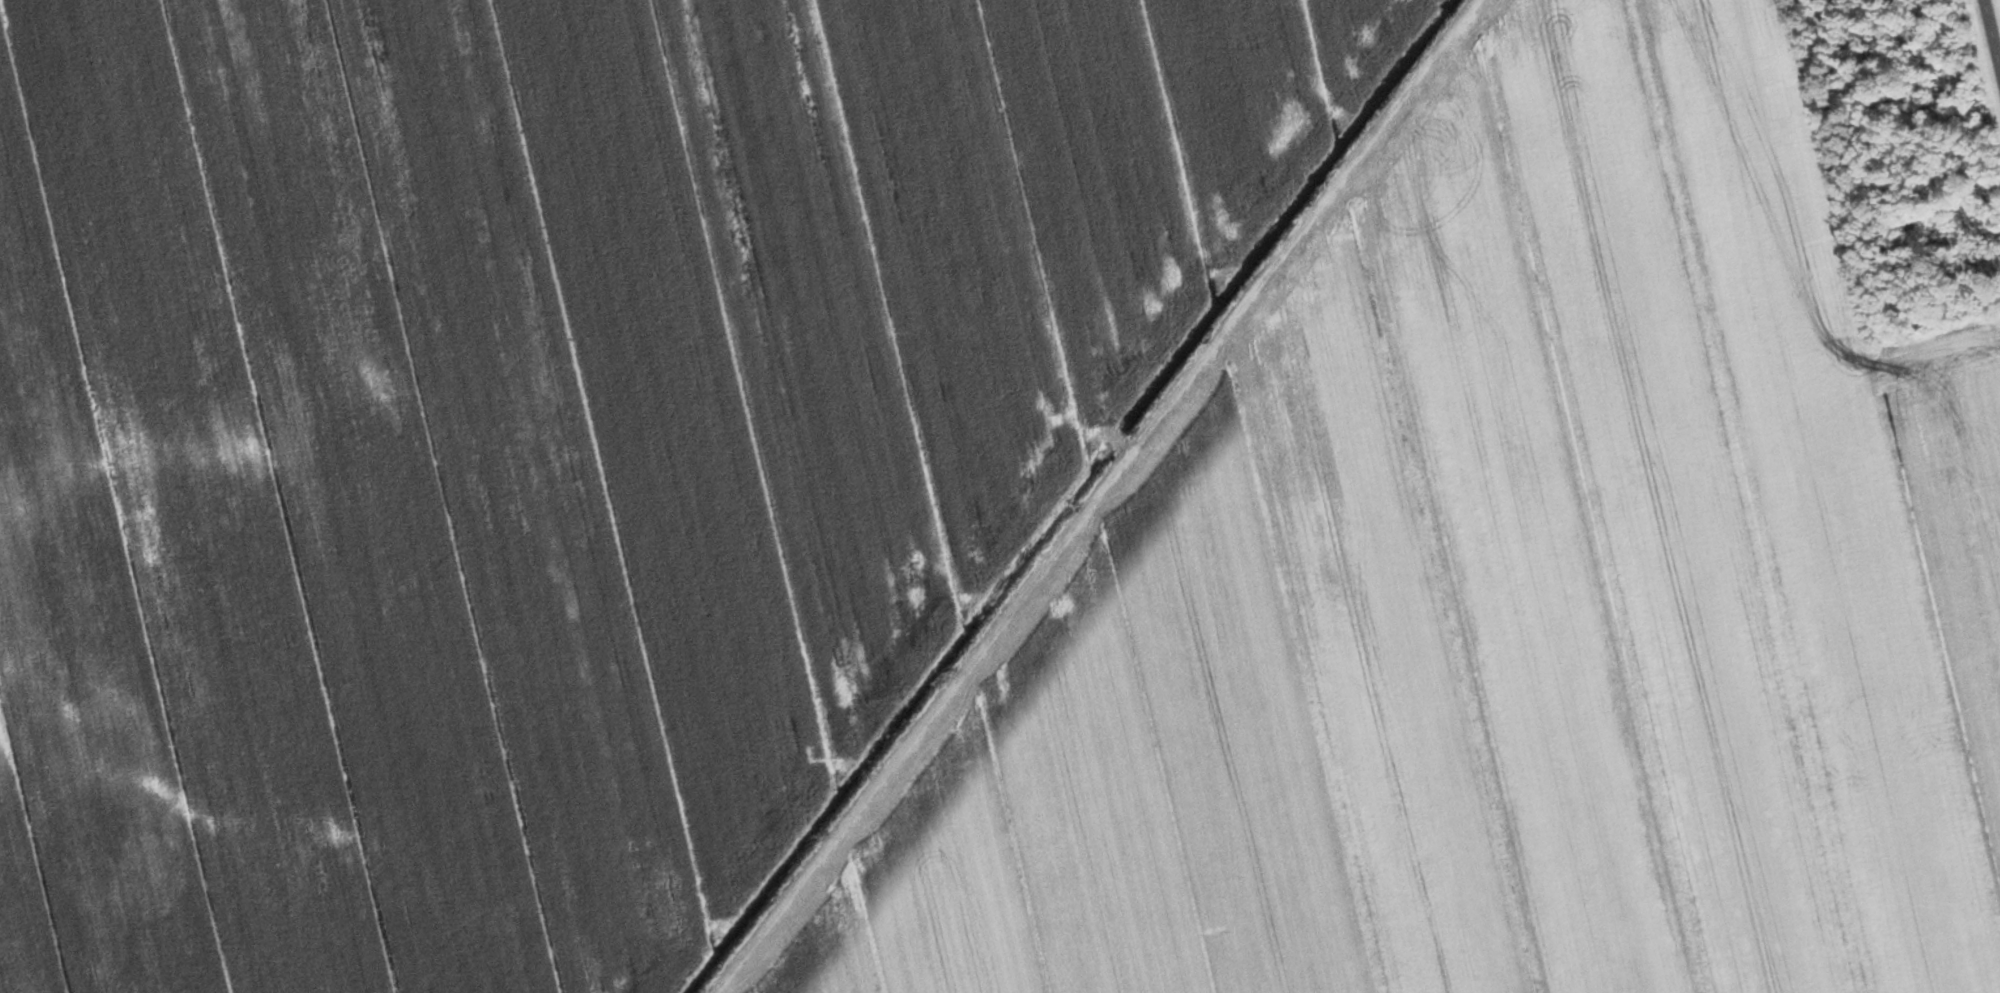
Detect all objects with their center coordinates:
road: (1989, 44)
crop: (551, 436)
road: (1094, 496)
crop: (1500, 592)

